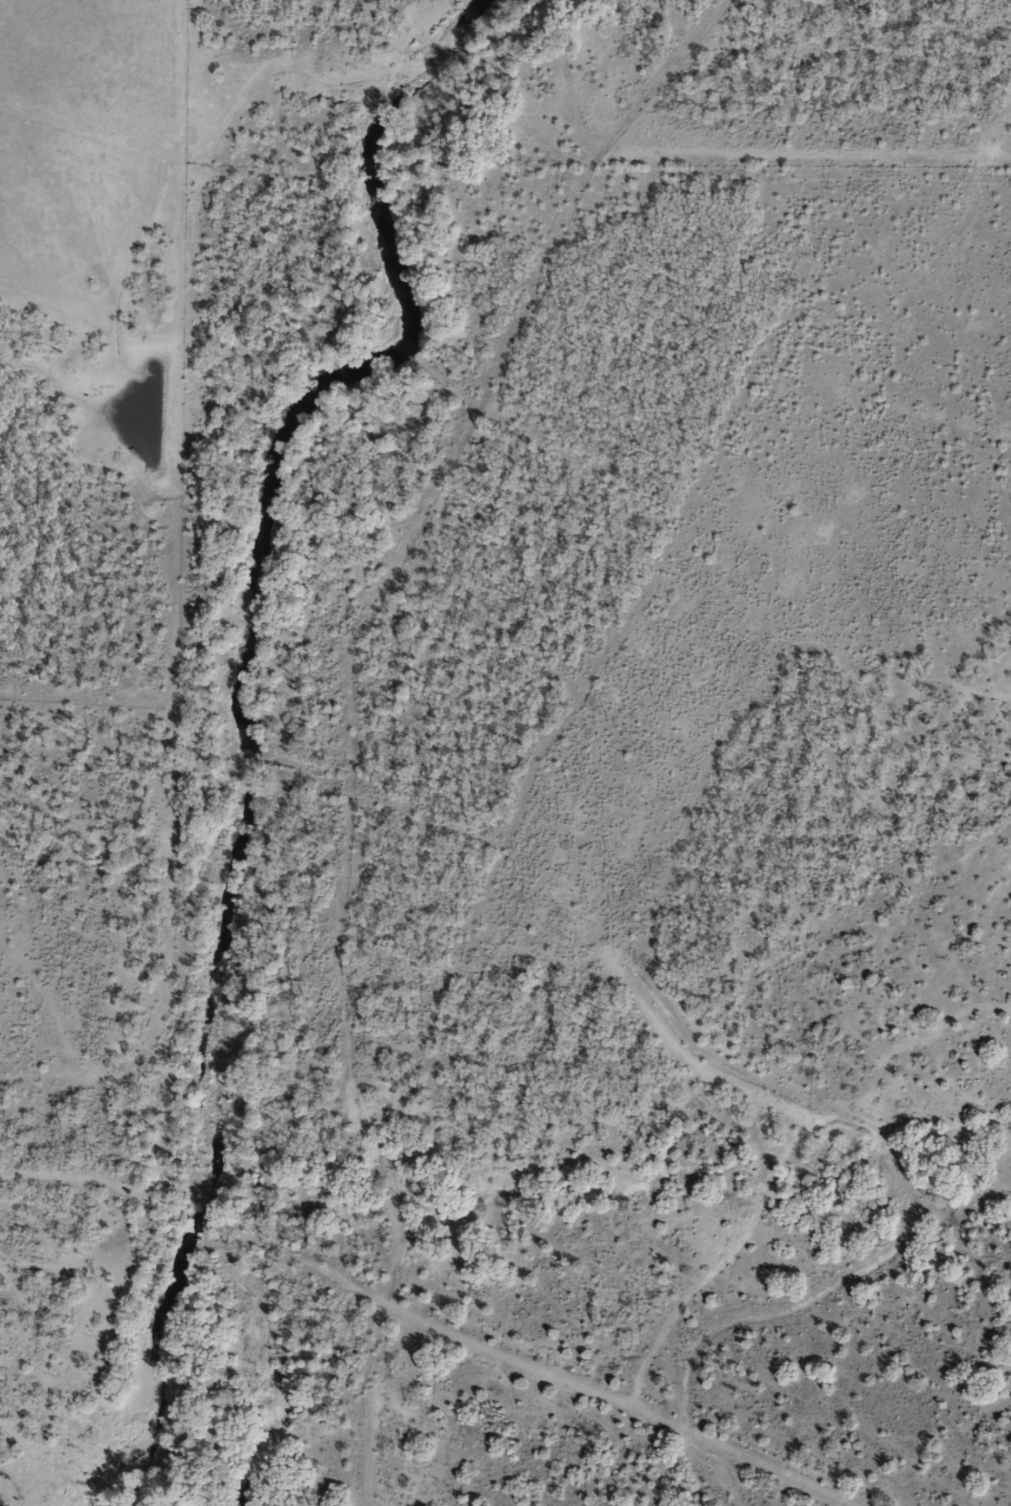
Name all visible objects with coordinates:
road: (446, 1324)
road: (460, 1335)

